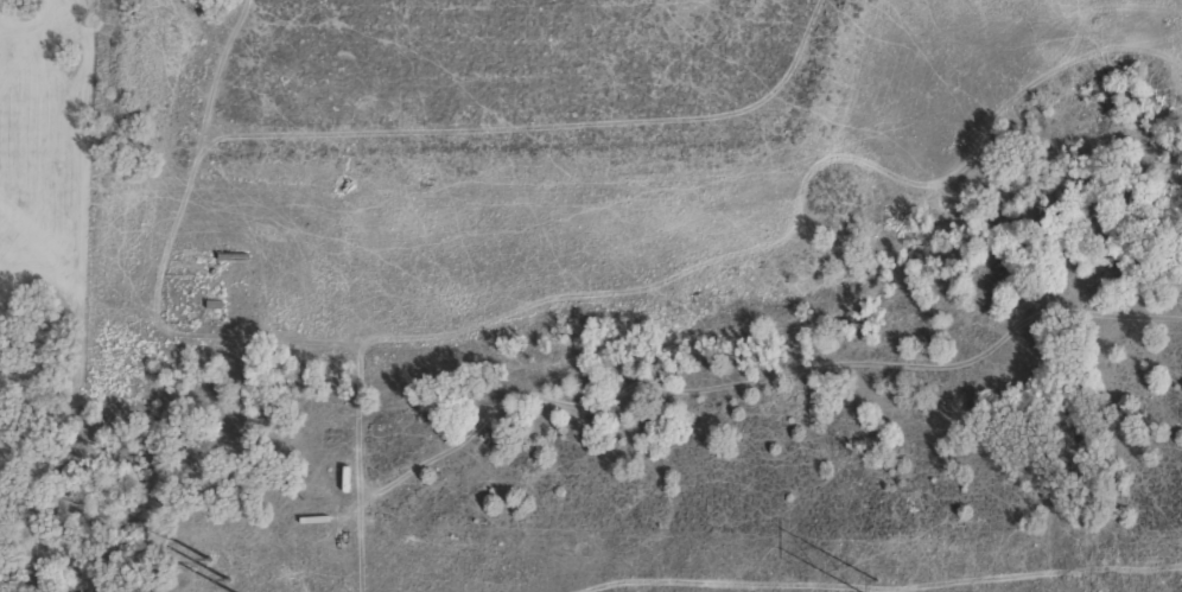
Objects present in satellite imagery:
building: (216, 267)
crop: (591, 295)
power tower: (224, 580)

